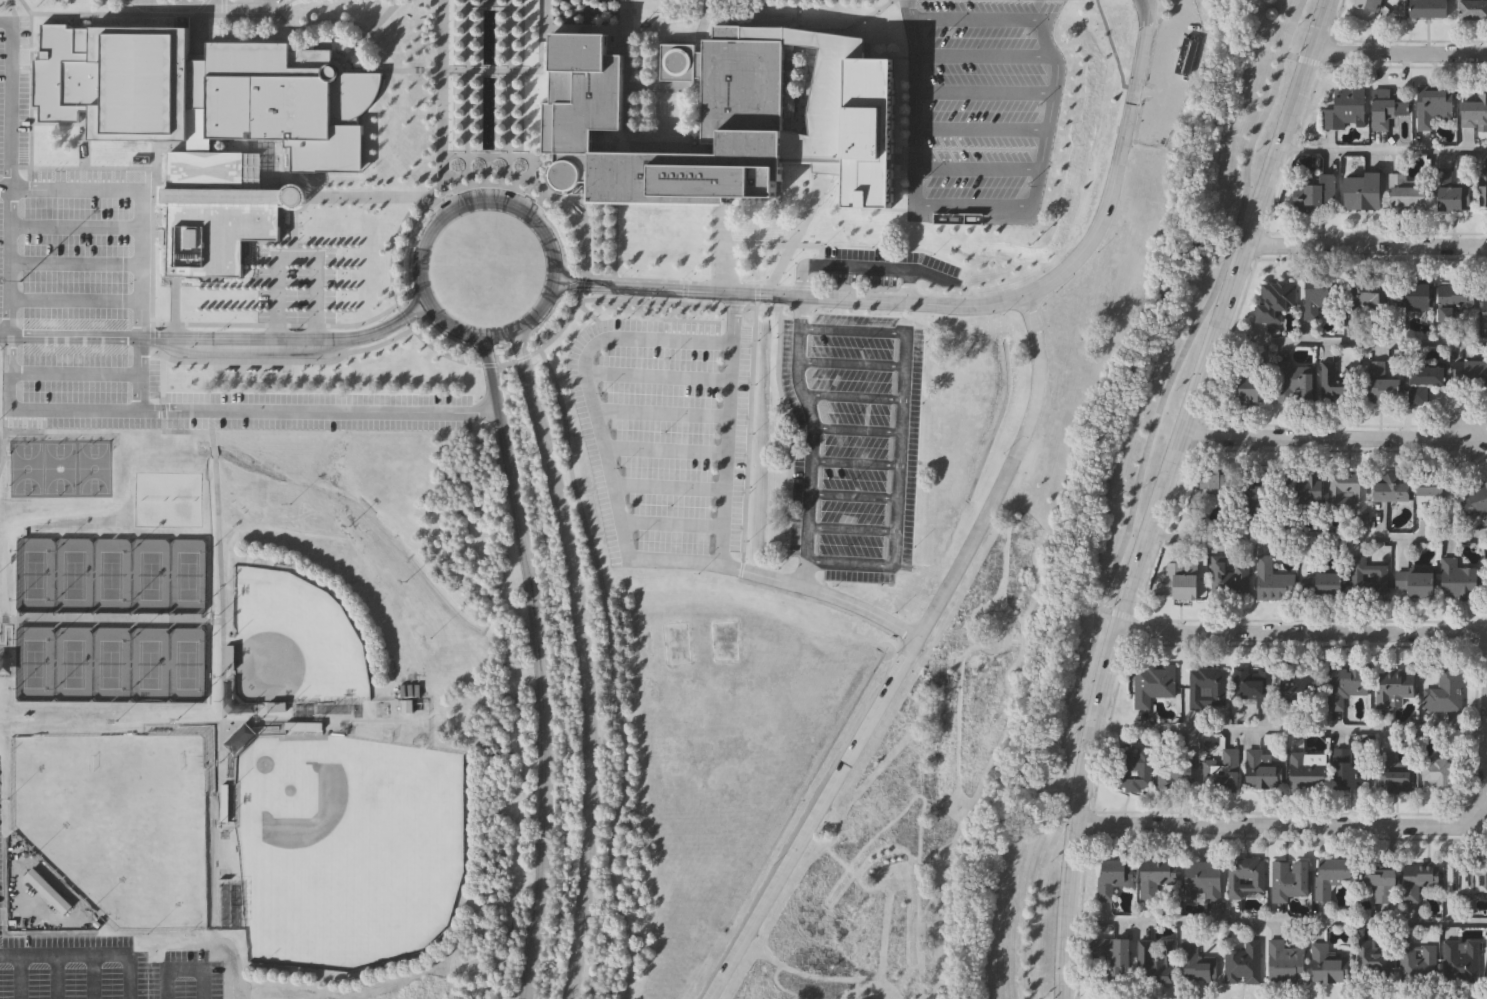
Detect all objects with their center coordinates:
road: (266, 0)
road: (293, 6)
road: (489, 6)
road: (12, 7)
building: (1431, 8)
building: (1472, 8)
building: (1368, 9)
road: (107, 13)
road: (211, 14)
road: (975, 19)
road: (322, 20)
road: (797, 20)
street lamp: (537, 23)
street lamp: (475, 24)
street lamp: (501, 24)
road: (600, 28)
road: (819, 29)
road: (370, 31)
road: (825, 31)
road: (334, 37)
street lamp: (475, 38)
street lamp: (501, 38)
road: (1113, 47)
street lamp: (537, 52)
street lamp: (475, 53)
street lamp: (501, 53)
road: (1399, 53)
road: (984, 56)
building: (1188, 57)
road: (1301, 58)
road: (482, 70)
street lamp: (475, 77)
street lamp: (501, 77)
street lamp: (537, 77)
road: (915, 84)
road: (653, 86)
road: (443, 91)
street lamp: (475, 91)
street lamp: (501, 91)
building: (204, 92)
road: (985, 93)
road: (1054, 94)
building: (1435, 104)
street lamp: (500, 106)
building: (1389, 106)
street lamp: (475, 107)
building: (1347, 107)
parking lot: (980, 109)
building: (1475, 110)
building: (725, 120)
street lamp: (475, 121)
street lamp: (500, 121)
road: (981, 129)
road: (624, 134)
street lamp: (475, 136)
street lamp: (500, 136)
building: (195, 147)
street lamp: (474, 150)
street lamp: (500, 150)
road: (1382, 152)
road: (455, 155)
road: (488, 155)
road: (532, 157)
road: (1116, 165)
road: (977, 170)
road: (11, 173)
building: (1484, 186)
road: (915, 188)
road: (1035, 188)
building: (1316, 188)
building: (1364, 190)
building: (1453, 190)
road: (144, 192)
building: (1407, 192)
road: (366, 196)
road: (973, 206)
building: (216, 212)
road: (294, 217)
road: (77, 226)
road: (798, 228)
road: (152, 232)
road: (427, 235)
road: (718, 243)
road: (775, 243)
road: (1366, 244)
road: (295, 256)
road: (77, 264)
road: (863, 266)
parking lot: (881, 267)
road: (552, 271)
parking lot: (295, 284)
road: (747, 284)
road: (909, 284)
road: (683, 292)
road: (788, 295)
building: (1371, 295)
building: (1418, 295)
road: (756, 296)
building: (1319, 297)
building: (1275, 298)
road: (76, 299)
building: (1457, 302)
parking lot: (121, 307)
building: (1485, 308)
road: (587, 311)
road: (683, 312)
road: (449, 324)
road: (779, 330)
road: (853, 330)
road: (5, 335)
road: (92, 336)
road: (305, 337)
road: (1350, 342)
road: (255, 351)
road: (531, 353)
road: (279, 361)
road: (852, 364)
building: (1472, 370)
building: (229, 371)
building: (251, 371)
building: (273, 371)
road: (75, 373)
road: (655, 376)
road: (560, 377)
building: (1297, 379)
building: (1339, 379)
building: (1425, 380)
road: (584, 382)
building: (1382, 383)
building: (1253, 387)
road: (852, 396)
road: (41, 403)
road: (155, 405)
road: (368, 406)
road: (659, 413)
road: (162, 416)
road: (726, 427)
road: (750, 429)
road: (857, 429)
road: (5, 432)
road: (573, 433)
road: (1322, 436)
road: (210, 437)
parking lot: (664, 438)
road: (812, 441)
parking lot: (854, 442)
road: (663, 449)
road: (899, 449)
road: (213, 452)
road: (855, 462)
park: (27, 468)
park: (60, 468)
park: (94, 468)
building: (1216, 480)
road: (666, 486)
building: (1394, 486)
building: (1311, 487)
road: (584, 491)
road: (1135, 492)
road: (1162, 492)
building: (1349, 494)
road: (854, 495)
building: (1438, 497)
building: (1476, 497)
building: (1257, 498)
park: (169, 499)
road: (671, 523)
road: (852, 528)
road: (595, 534)
road: (1316, 539)
road: (743, 556)
road: (850, 563)
road: (739, 570)
park: (33, 575)
park: (73, 575)
park: (110, 575)
park: (149, 576)
park: (187, 576)
building: (1230, 576)
building: (1369, 577)
building: (1183, 578)
building: (1459, 579)
road: (778, 580)
building: (1274, 581)
building: (1417, 583)
building: (1323, 584)
road: (1117, 612)
road: (221, 621)
road: (1302, 631)
park: (293, 640)
park: (724, 641)
park: (676, 644)
road: (906, 657)
road: (583, 660)
park: (33, 663)
park: (72, 664)
park: (108, 664)
park: (149, 664)
park: (186, 664)
road: (536, 665)
road: (613, 672)
building: (1154, 683)
building: (1346, 683)
building: (1253, 684)
building: (1209, 687)
building: (1395, 687)
building: (1301, 689)
building: (1446, 690)
building: (228, 693)
road: (1288, 731)
building: (242, 742)
road: (843, 745)
building: (1134, 769)
building: (1264, 769)
building: (1309, 770)
building: (1349, 770)
building: (1177, 771)
building: (1224, 771)
building: (1440, 771)
building: (1395, 773)
park: (117, 822)
road: (1354, 826)
parking lot: (797, 837)
park: (346, 848)
building: (1333, 874)
building: (1115, 876)
building: (1157, 876)
building: (1247, 876)
building: (1467, 876)
building: (1420, 878)
building: (1291, 879)
building: (1204, 880)
building: (1385, 885)
road: (1276, 923)
road: (65, 955)
building: (1113, 957)
building: (1375, 958)
building: (1462, 958)
building: (1157, 960)
building: (1286, 961)
building: (1197, 962)
building: (1245, 963)
building: (1420, 964)
building: (1329, 965)
parking lot: (101, 967)
road: (185, 969)
road: (18, 977)
road: (54, 977)
road: (92, 977)
road: (130, 977)

